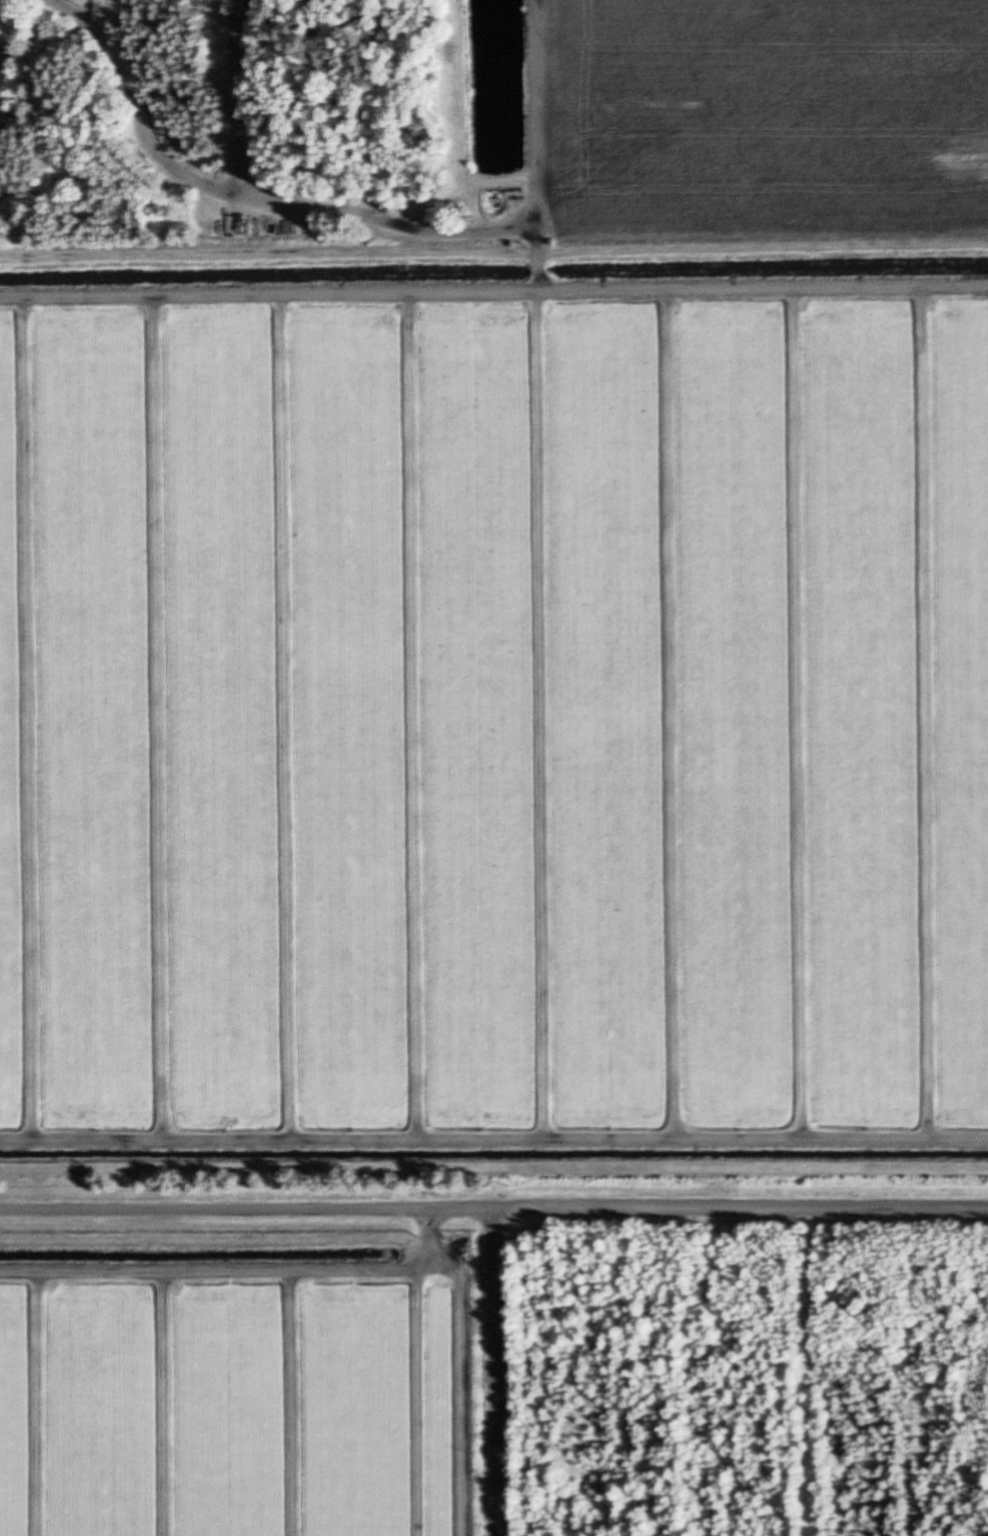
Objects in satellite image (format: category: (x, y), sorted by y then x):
road: (494, 1224)
road: (513, 1380)

